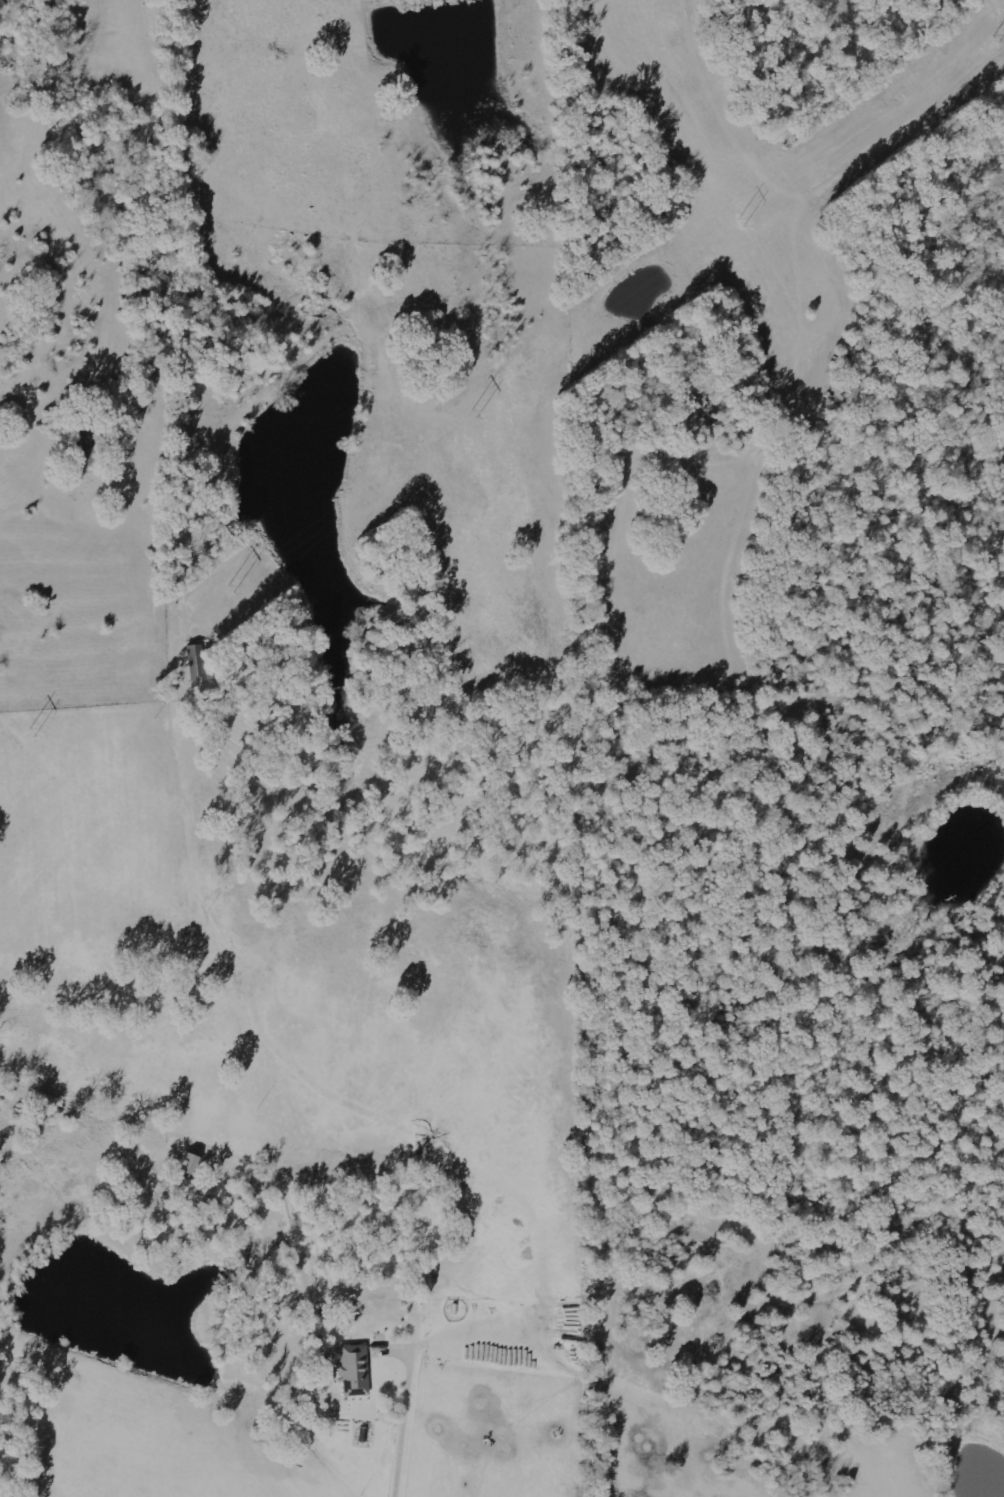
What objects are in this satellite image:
building: (197, 660)
building: (354, 1370)
road: (202, 1442)

